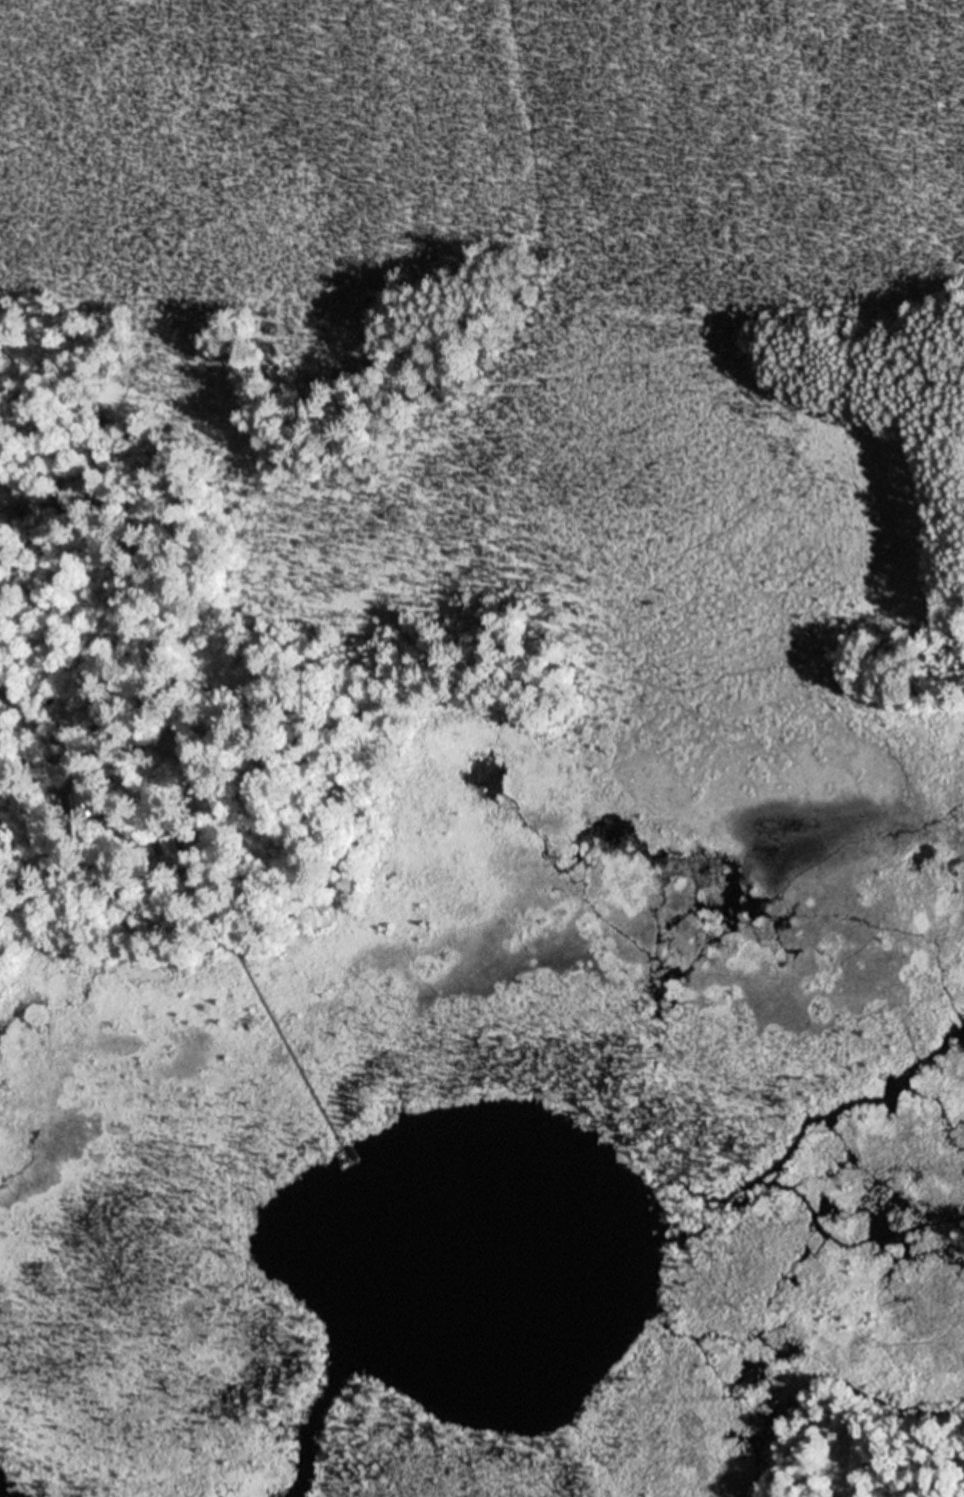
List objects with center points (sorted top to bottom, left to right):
road: (60, 763)
building: (208, 801)
building: (195, 824)
building: (172, 857)

